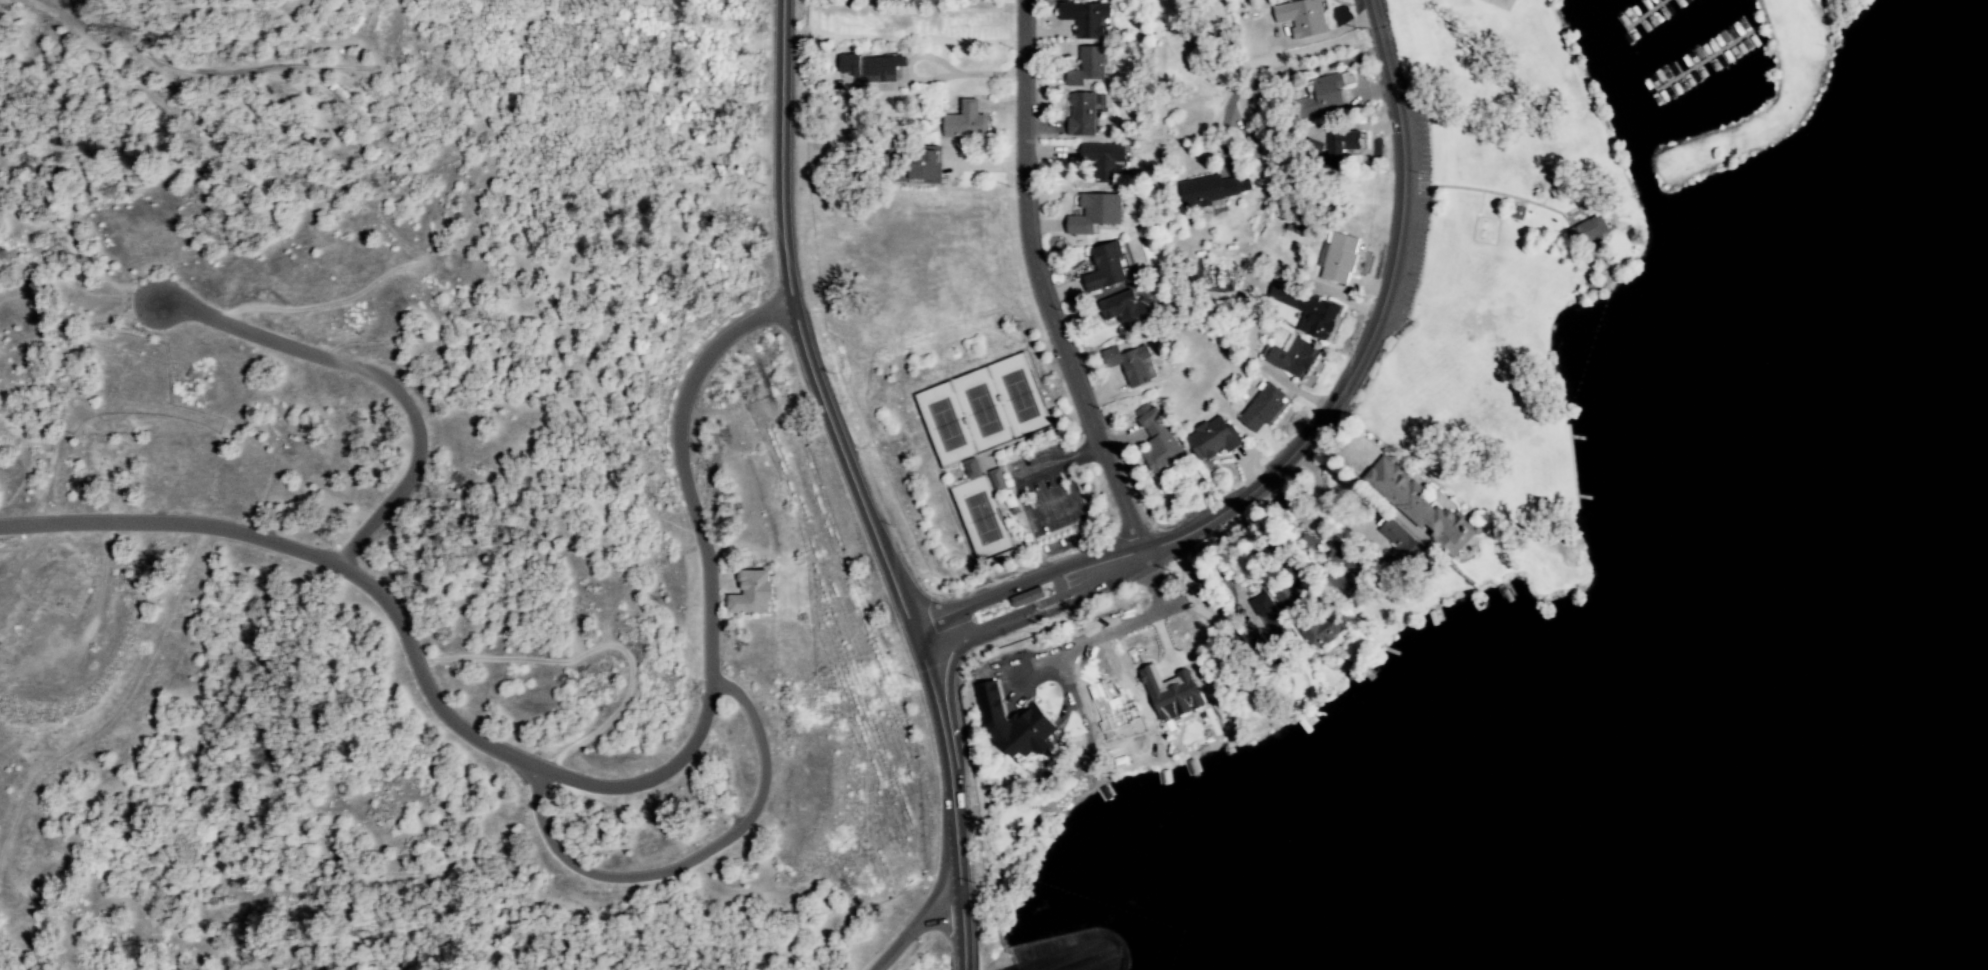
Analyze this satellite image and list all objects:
building: (1305, 18)
building: (1088, 19)
park: (1829, 24)
building: (1088, 67)
building: (873, 68)
road: (929, 78)
road: (1280, 78)
building: (1327, 96)
park: (1499, 105)
building: (1085, 113)
building: (967, 122)
building: (1341, 147)
building: (1107, 161)
building: (920, 169)
building: (1211, 190)
building: (1096, 214)
building: (1341, 258)
building: (1107, 268)
road: (1037, 284)
building: (1307, 310)
building: (1127, 311)
building: (1294, 356)
building: (1130, 363)
road: (381, 377)
building: (1265, 407)
road: (1314, 422)
building: (1214, 438)
building: (1158, 441)
building: (972, 468)
road: (862, 471)
building: (1420, 504)
building: (1312, 544)
building: (1401, 551)
building: (1348, 567)
building: (755, 593)
building: (1287, 597)
building: (1270, 622)
road: (1131, 627)
building: (1323, 628)
building: (1173, 693)
building: (1016, 723)
building: (1055, 763)
road: (561, 775)
road: (701, 857)
dam: (1078, 924)
road: (912, 926)
road: (965, 955)

